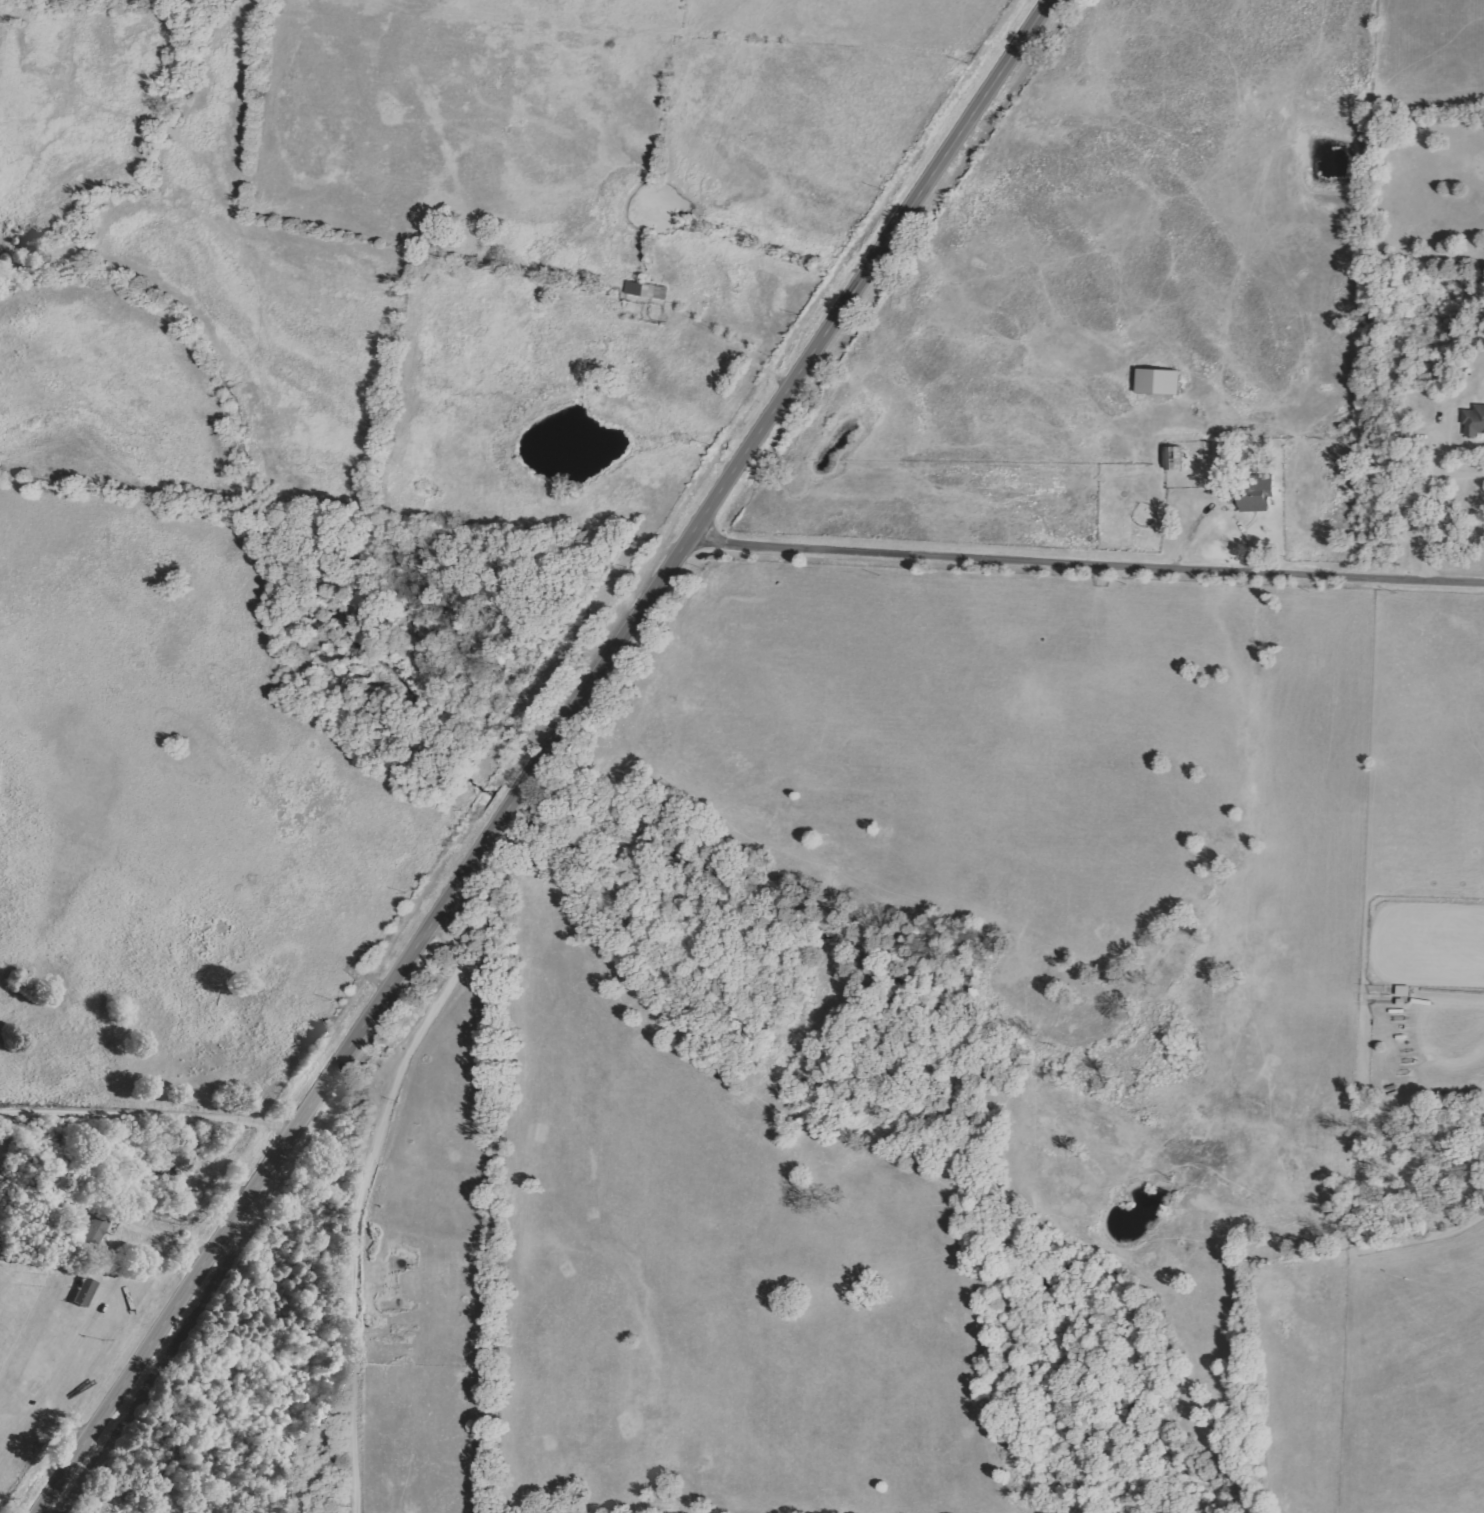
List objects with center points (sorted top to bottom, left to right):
building: (645, 289)
building: (1156, 380)
building: (1473, 420)
building: (1171, 457)
road: (1455, 478)
building: (1257, 495)
road: (1426, 498)
road: (1089, 560)
road: (551, 759)
road: (153, 1110)
road: (362, 1202)
building: (95, 1225)
road: (178, 1234)
building: (83, 1291)

